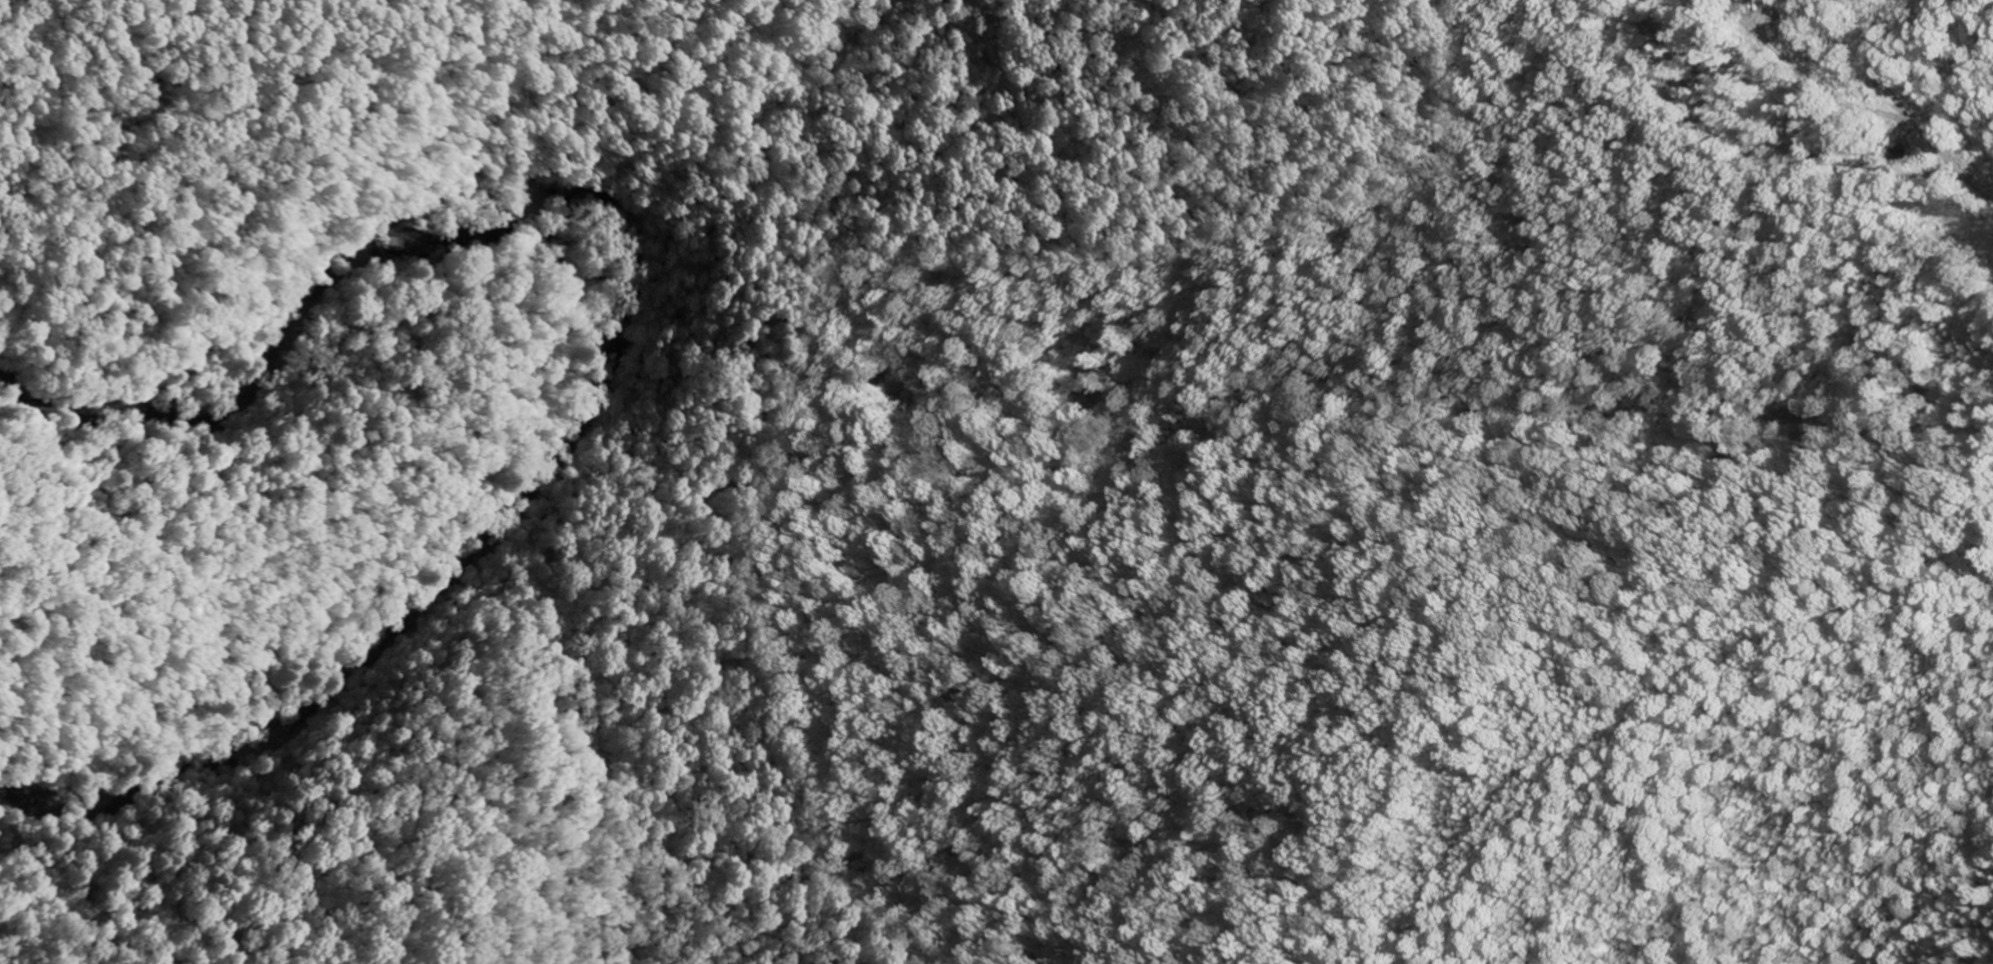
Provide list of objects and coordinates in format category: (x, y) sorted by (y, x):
road: (937, 488)

